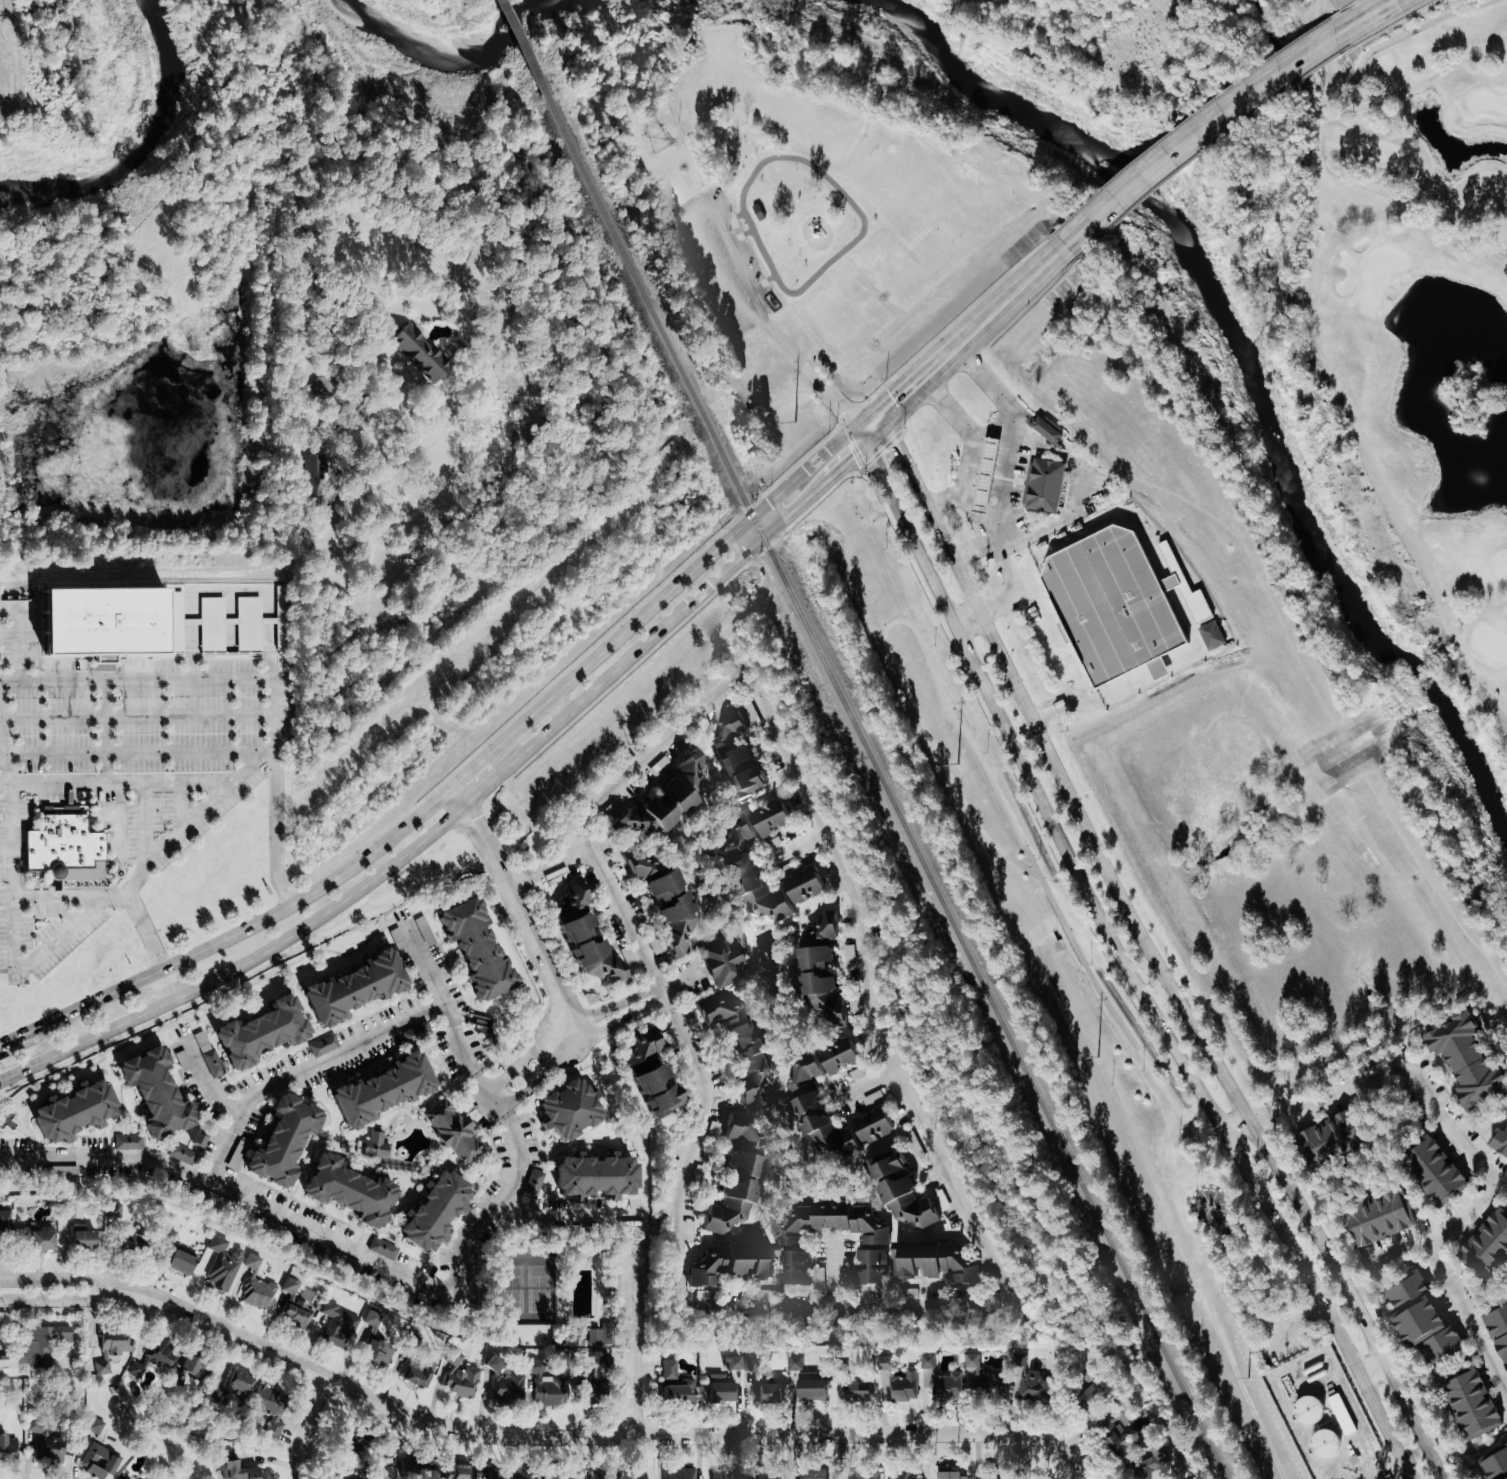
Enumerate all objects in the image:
road: (1359, 14)
railway: (519, 47)
river: (453, 60)
road: (25, 63)
road: (1055, 83)
road: (1190, 130)
power tower: (657, 139)
river: (149, 150)
park: (795, 192)
road: (1009, 291)
building: (420, 352)
river: (1242, 352)
road: (913, 383)
road: (824, 386)
road: (988, 414)
road: (396, 422)
power tower: (795, 425)
traffic signals: (867, 429)
building: (1048, 429)
road: (972, 439)
road: (850, 456)
road: (1076, 463)
building: (985, 467)
road: (1003, 475)
building: (1045, 479)
road: (919, 483)
parking lot: (1018, 487)
road: (973, 512)
road: (1109, 515)
road: (1003, 561)
road: (167, 573)
building: (1183, 580)
road: (1166, 581)
road: (672, 587)
road: (1014, 590)
building: (1112, 597)
building: (101, 620)
road: (971, 622)
road: (889, 623)
building: (223, 625)
building: (1064, 626)
road: (1194, 632)
building: (1214, 635)
road: (1057, 636)
road: (18, 639)
building: (1159, 662)
road: (1161, 667)
road: (254, 676)
road: (1125, 683)
road: (1314, 690)
road: (1068, 706)
road: (558, 707)
road: (137, 713)
road: (104, 730)
parking lot: (132, 743)
road: (4, 745)
road: (140, 752)
building: (737, 757)
power tower: (958, 766)
road: (468, 771)
road: (142, 781)
railway: (884, 787)
road: (812, 799)
building: (667, 800)
road: (182, 805)
building: (772, 820)
road: (443, 822)
road: (189, 823)
building: (738, 831)
road: (11, 840)
road: (146, 841)
road: (806, 847)
building: (62, 852)
road: (557, 860)
building: (640, 868)
road: (518, 880)
building: (805, 886)
building: (758, 891)
road: (64, 897)
road: (517, 903)
building: (672, 911)
building: (829, 924)
road: (252, 925)
building: (426, 931)
building: (586, 935)
road: (151, 947)
building: (468, 947)
road: (1127, 960)
road: (36, 962)
building: (724, 962)
building: (823, 986)
building: (346, 988)
road: (663, 989)
park: (1066, 990)
road: (613, 1009)
road: (1193, 1018)
building: (254, 1031)
road: (16, 1041)
building: (738, 1041)
building: (323, 1046)
building: (207, 1054)
road: (523, 1056)
building: (837, 1057)
power tower: (1097, 1060)
building: (181, 1061)
building: (1468, 1061)
road: (538, 1072)
road: (300, 1073)
road: (1387, 1073)
building: (650, 1074)
road: (207, 1082)
road: (864, 1086)
building: (376, 1089)
building: (149, 1090)
building: (560, 1109)
building: (66, 1110)
building: (815, 1111)
building: (871, 1125)
building: (739, 1130)
building: (451, 1132)
building: (1330, 1139)
building: (195, 1140)
road: (697, 1141)
building: (1499, 1141)
building: (126, 1142)
building: (276, 1143)
building: (373, 1145)
building: (180, 1154)
road: (4, 1161)
road: (1215, 1170)
building: (1434, 1171)
building: (587, 1175)
building: (531, 1183)
building: (342, 1190)
building: (900, 1192)
road: (1225, 1192)
building: (731, 1193)
building: (428, 1209)
building: (65, 1211)
building: (112, 1211)
road: (555, 1216)
building: (1379, 1218)
building: (4, 1223)
building: (80, 1237)
building: (36, 1238)
building: (874, 1240)
building: (129, 1242)
building: (1487, 1244)
building: (381, 1249)
building: (180, 1260)
building: (933, 1262)
building: (221, 1263)
building: (728, 1264)
building: (793, 1267)
road: (833, 1274)
building: (846, 1275)
road: (68, 1278)
road: (1457, 1283)
road: (422, 1285)
building: (255, 1286)
park: (555, 1294)
road: (68, 1298)
building: (294, 1305)
road: (834, 1305)
building: (1421, 1321)
road: (1291, 1323)
building: (336, 1325)
building: (366, 1329)
building: (1498, 1330)
building: (602, 1335)
parking lot: (1280, 1341)
road: (632, 1343)
building: (41, 1345)
building: (111, 1349)
building: (375, 1353)
building: (152, 1357)
building: (452, 1358)
building: (732, 1363)
building: (492, 1364)
building: (602, 1364)
building: (750, 1364)
building: (793, 1364)
building: (6, 1366)
road: (1372, 1366)
building: (187, 1369)
building: (415, 1371)
building: (984, 1377)
building: (238, 1382)
building: (459, 1382)
building: (940, 1382)
building: (1030, 1382)
power tower: (1247, 1382)
building: (674, 1383)
building: (506, 1386)
building: (809, 1386)
building: (902, 1386)
building: (545, 1387)
building: (719, 1389)
building: (856, 1392)
building: (768, 1393)
building: (1091, 1397)
building: (1471, 1403)
building: (267, 1410)
building: (1308, 1410)
building: (1340, 1414)
building: (92, 1425)
road: (307, 1426)
building: (1117, 1432)
road: (541, 1434)
road: (1042, 1438)
building: (44, 1441)
road: (1362, 1443)
building: (1324, 1444)
building: (6, 1448)
building: (348, 1448)
building: (1150, 1458)
building: (97, 1462)
building: (1494, 1464)
building: (401, 1467)
building: (234, 1470)
building: (462, 1472)
building: (677, 1473)
building: (726, 1473)
building: (811, 1474)
building: (597, 1475)
building: (631, 1475)
building: (862, 1475)
building: (902, 1475)
building: (771, 1476)
building: (950, 1476)
building: (503, 1477)
building: (539, 1478)
building: (990, 1478)
park: (1397, 1478)

